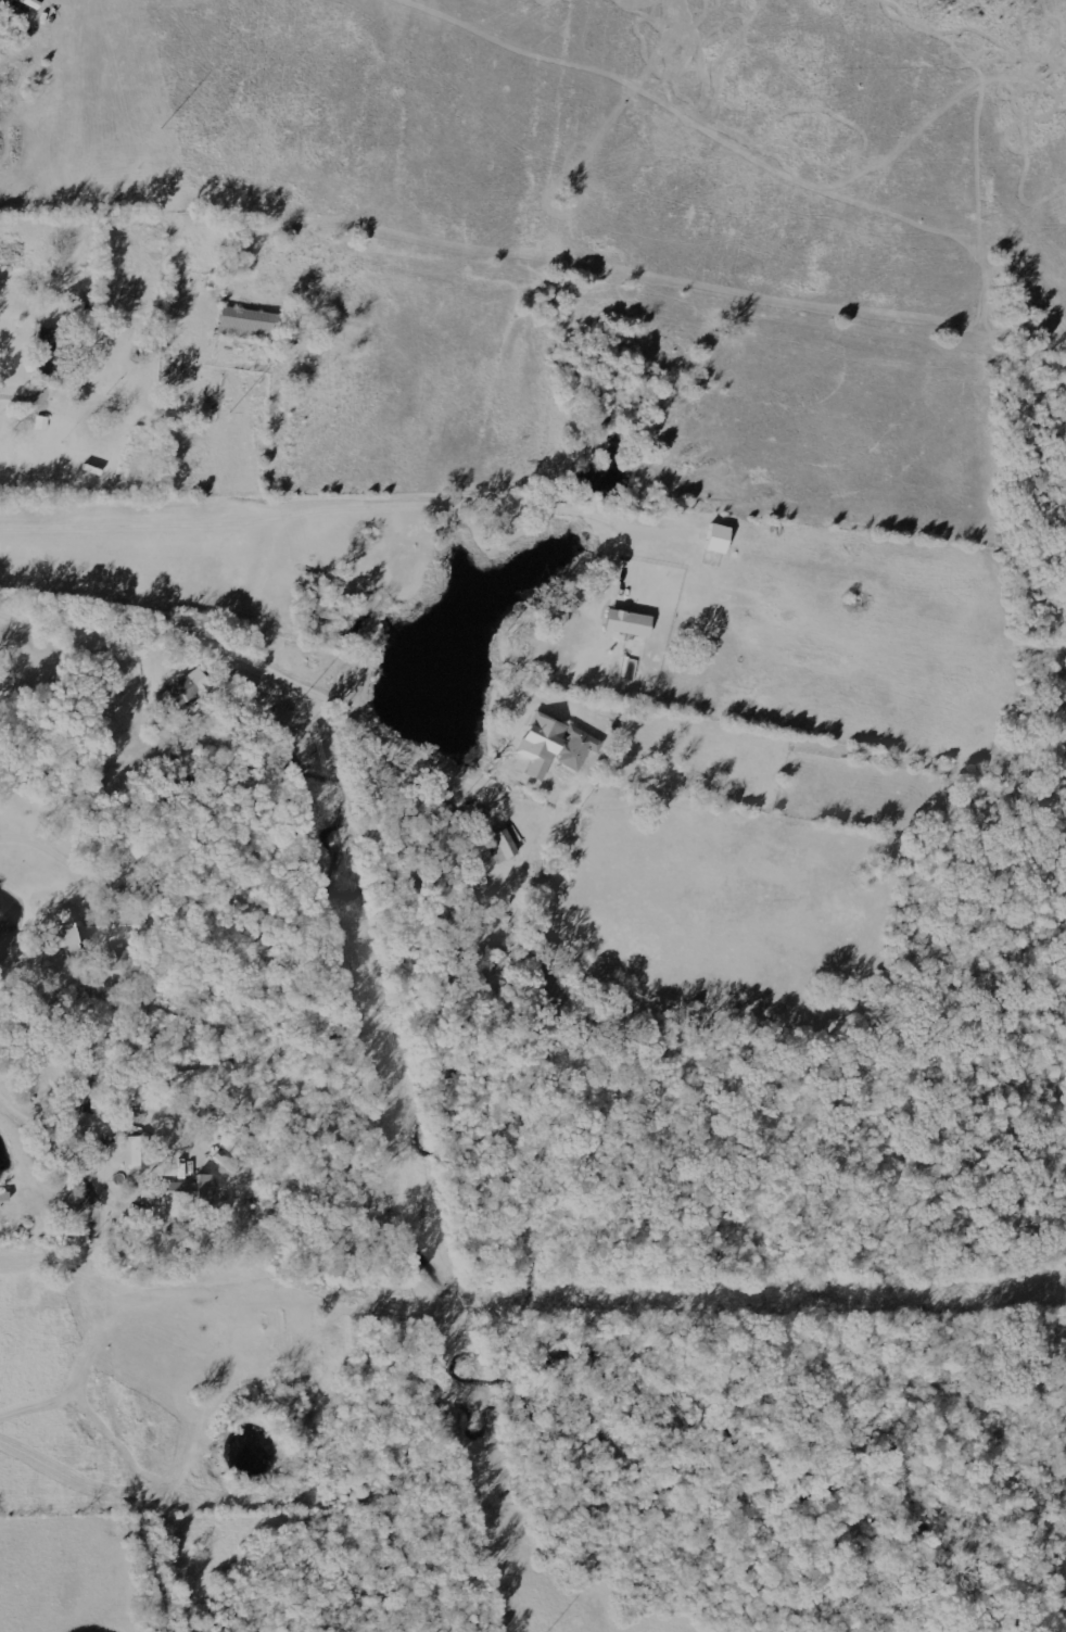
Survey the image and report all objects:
building: (50, 346)
road: (28, 390)
building: (38, 425)
road: (319, 509)
building: (313, 610)
building: (631, 623)
road: (276, 661)
building: (187, 692)
building: (570, 749)
building: (495, 849)
road: (56, 855)
building: (68, 928)
building: (495, 951)
road: (62, 1137)
building: (137, 1153)
building: (169, 1195)
building: (1, 1199)

